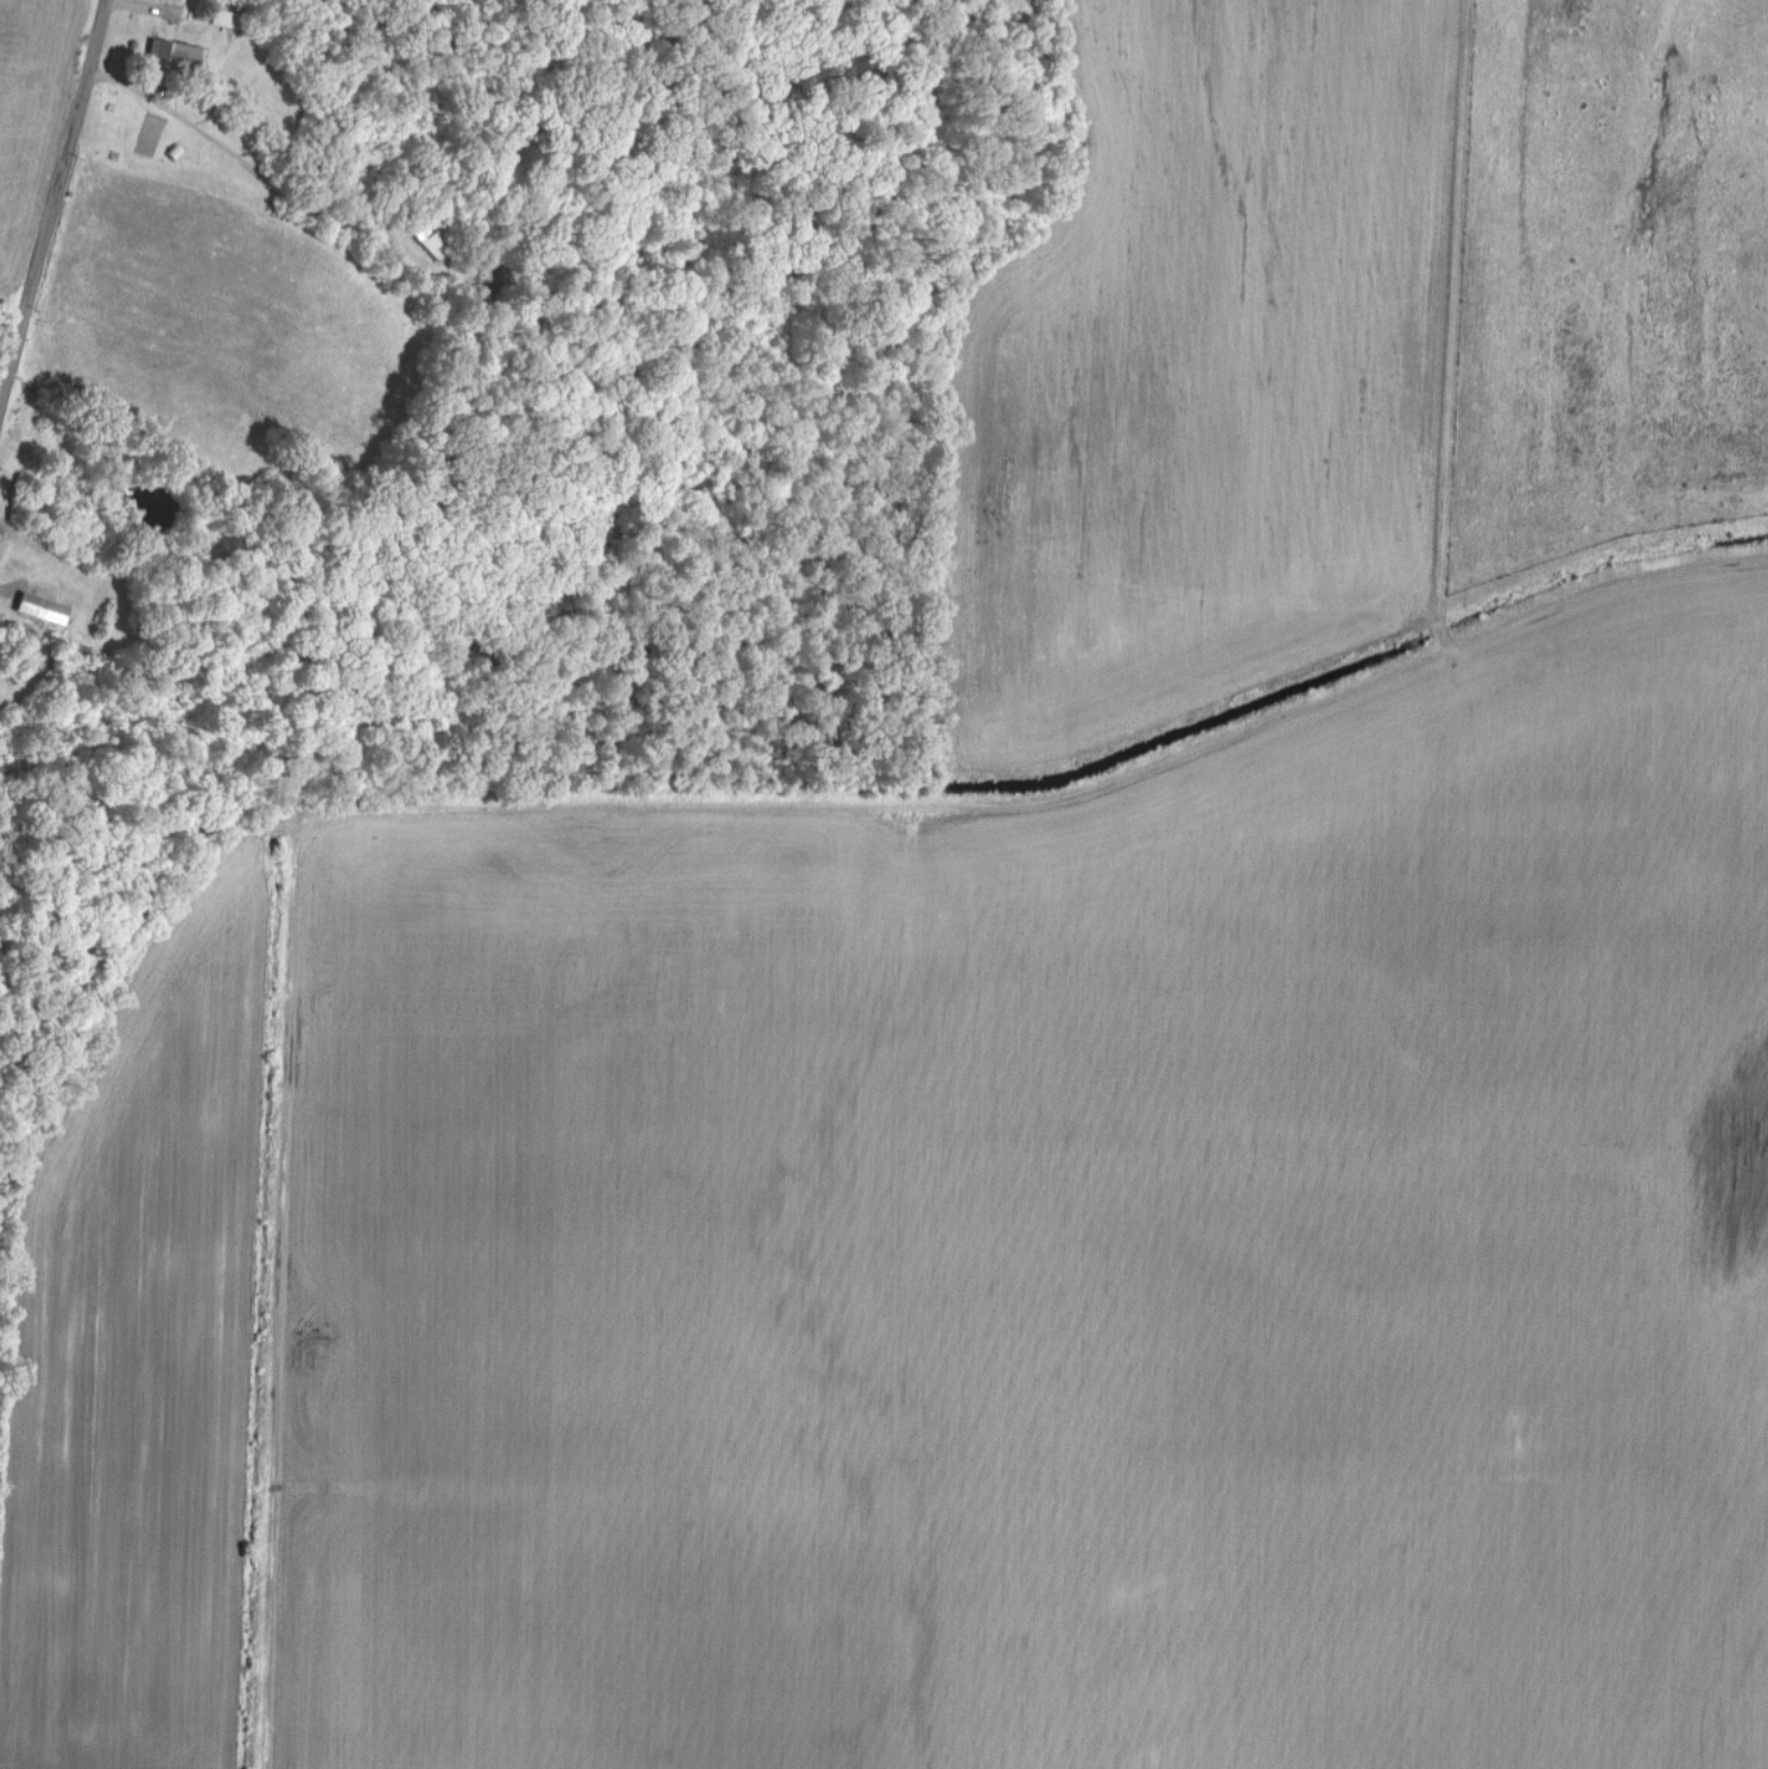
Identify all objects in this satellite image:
building: (172, 53)
road: (251, 165)
road: (52, 198)
building: (437, 240)

